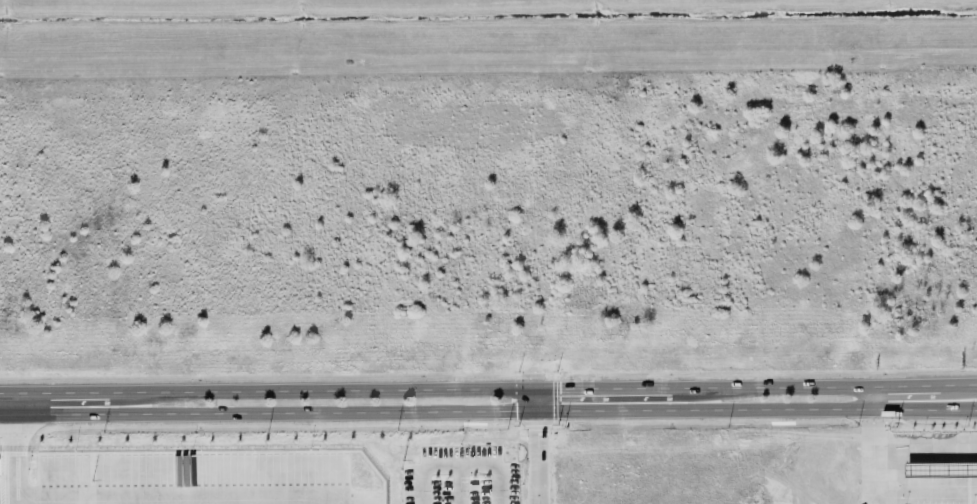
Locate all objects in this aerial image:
road: (488, 390)
road: (447, 400)
road: (538, 400)
road: (23, 404)
road: (488, 410)
road: (898, 448)
road: (539, 457)
road: (22, 459)
road: (926, 489)

